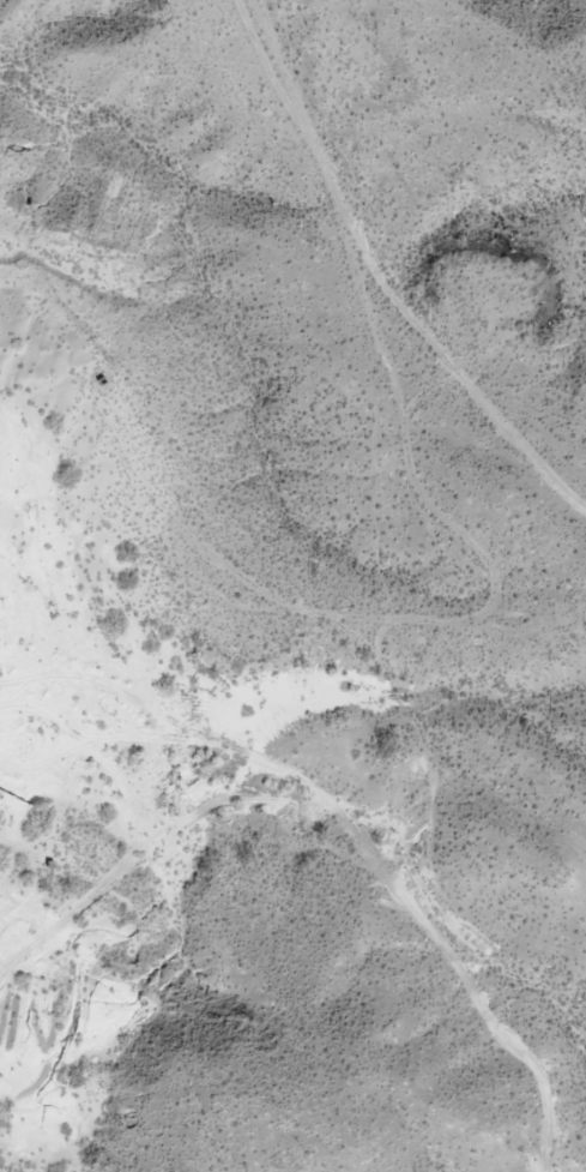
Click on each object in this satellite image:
road: (391, 282)

